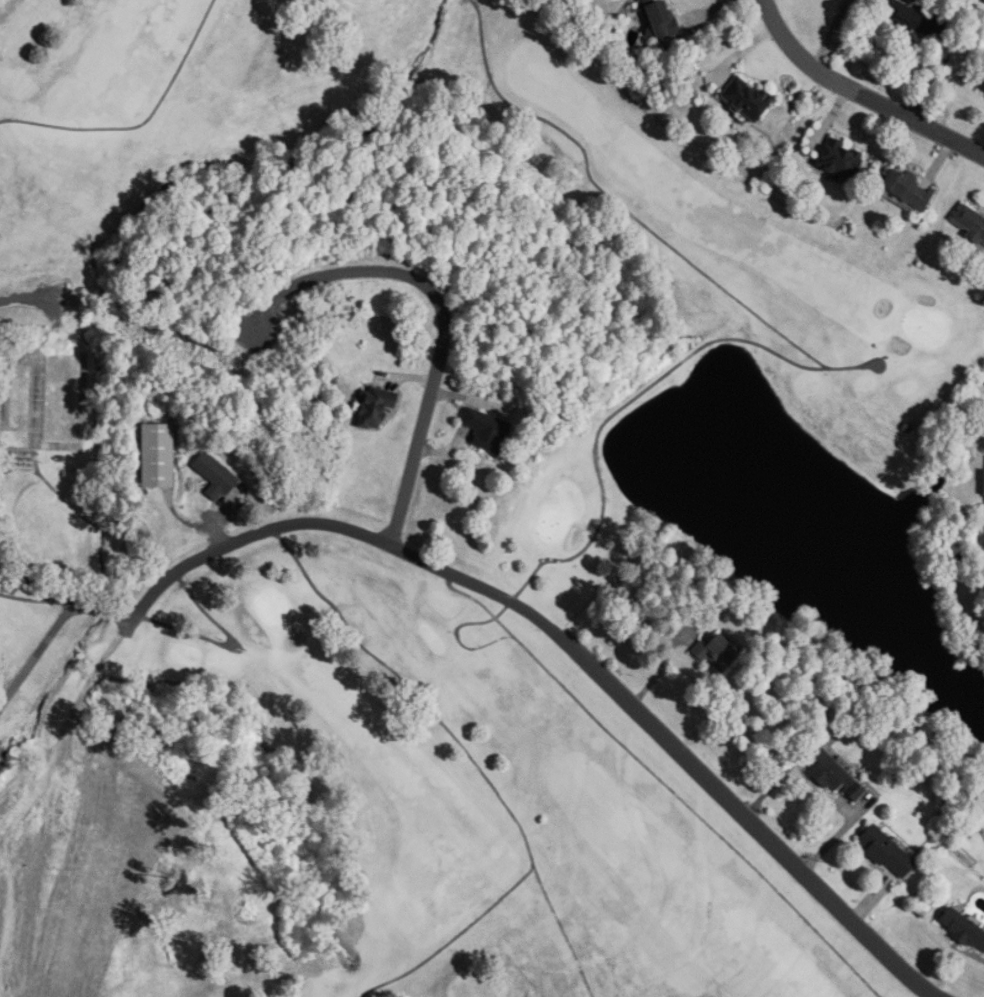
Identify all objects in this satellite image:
building: (904, 15)
building: (664, 20)
road: (830, 33)
building: (982, 89)
road: (860, 94)
building: (749, 99)
building: (842, 158)
building: (910, 188)
building: (971, 222)
road: (443, 309)
building: (378, 406)
building: (489, 430)
building: (158, 455)
building: (216, 476)
road: (510, 600)
building: (718, 653)
road: (37, 656)
building: (834, 774)
building: (888, 852)
building: (964, 929)

